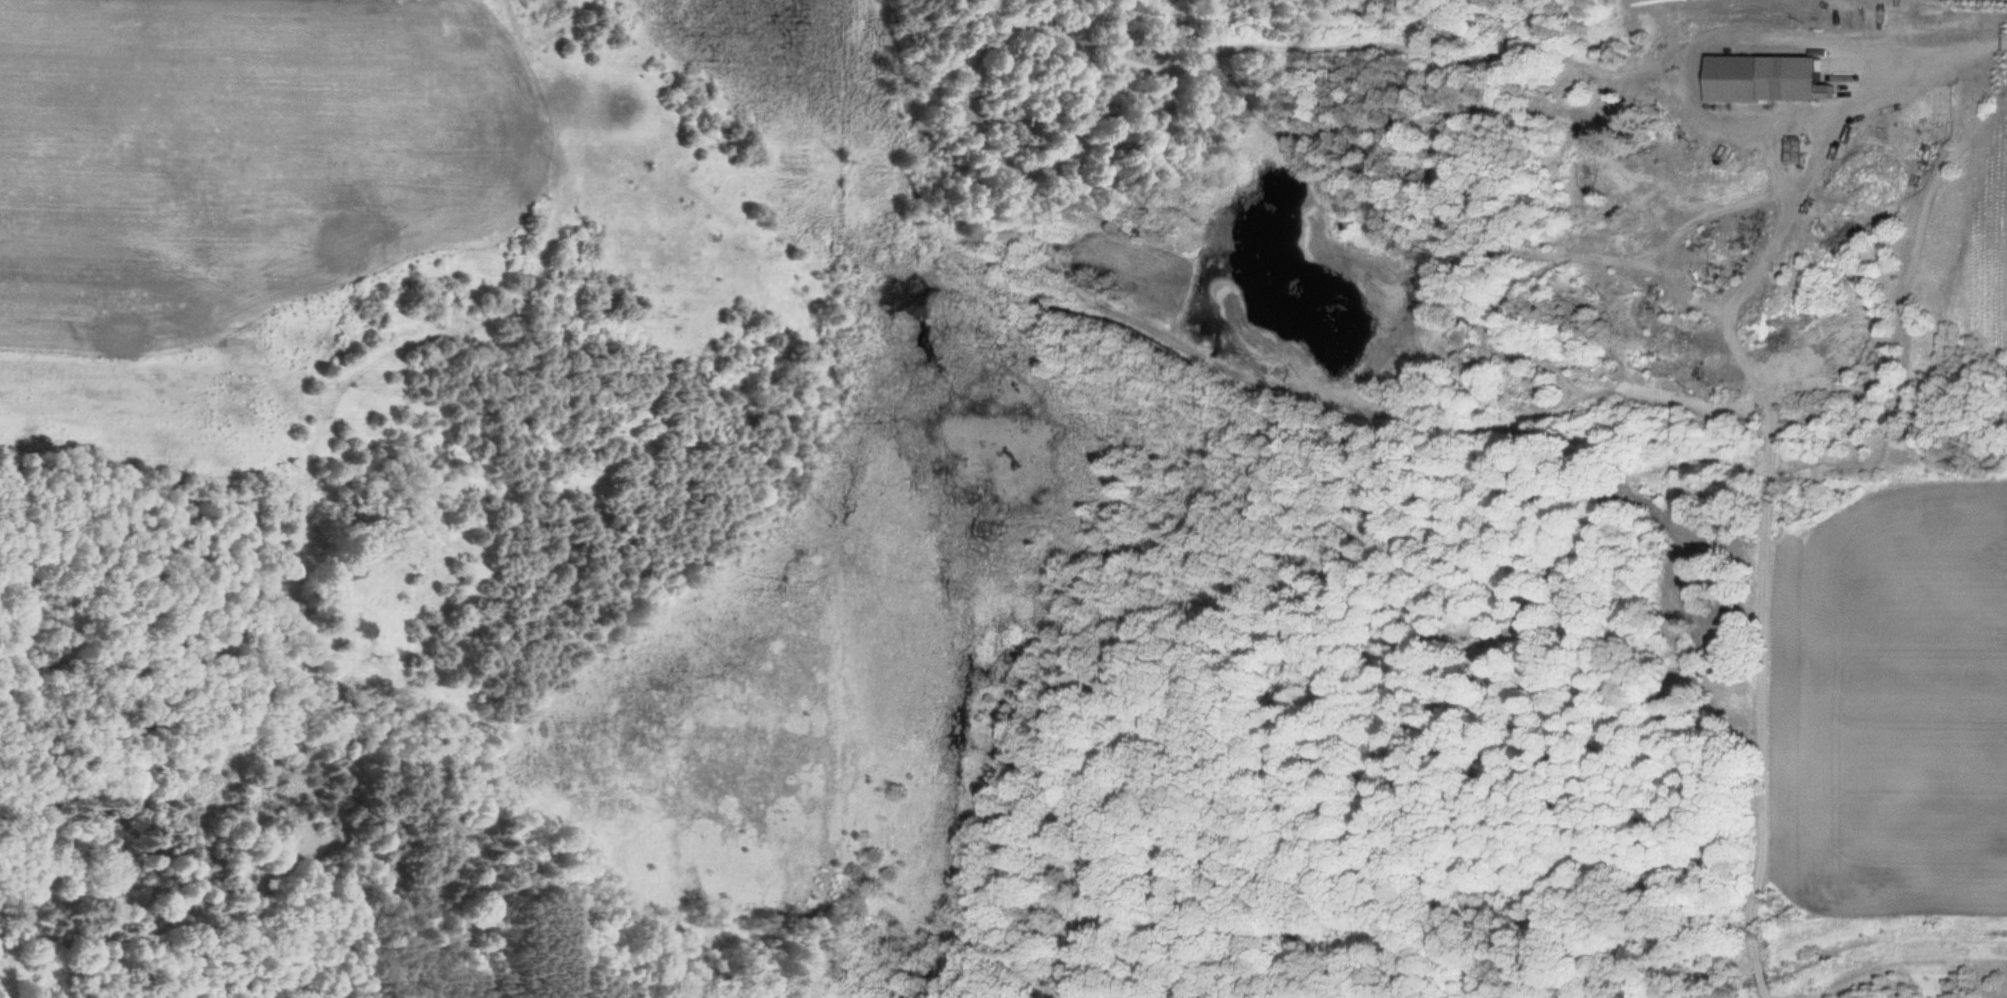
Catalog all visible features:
building: (1779, 78)

